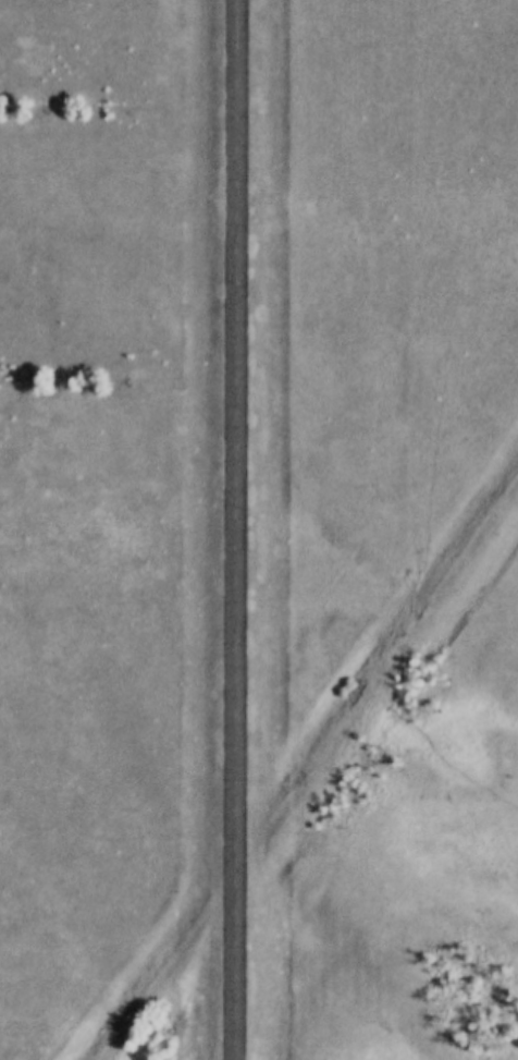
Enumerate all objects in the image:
road: (236, 529)

